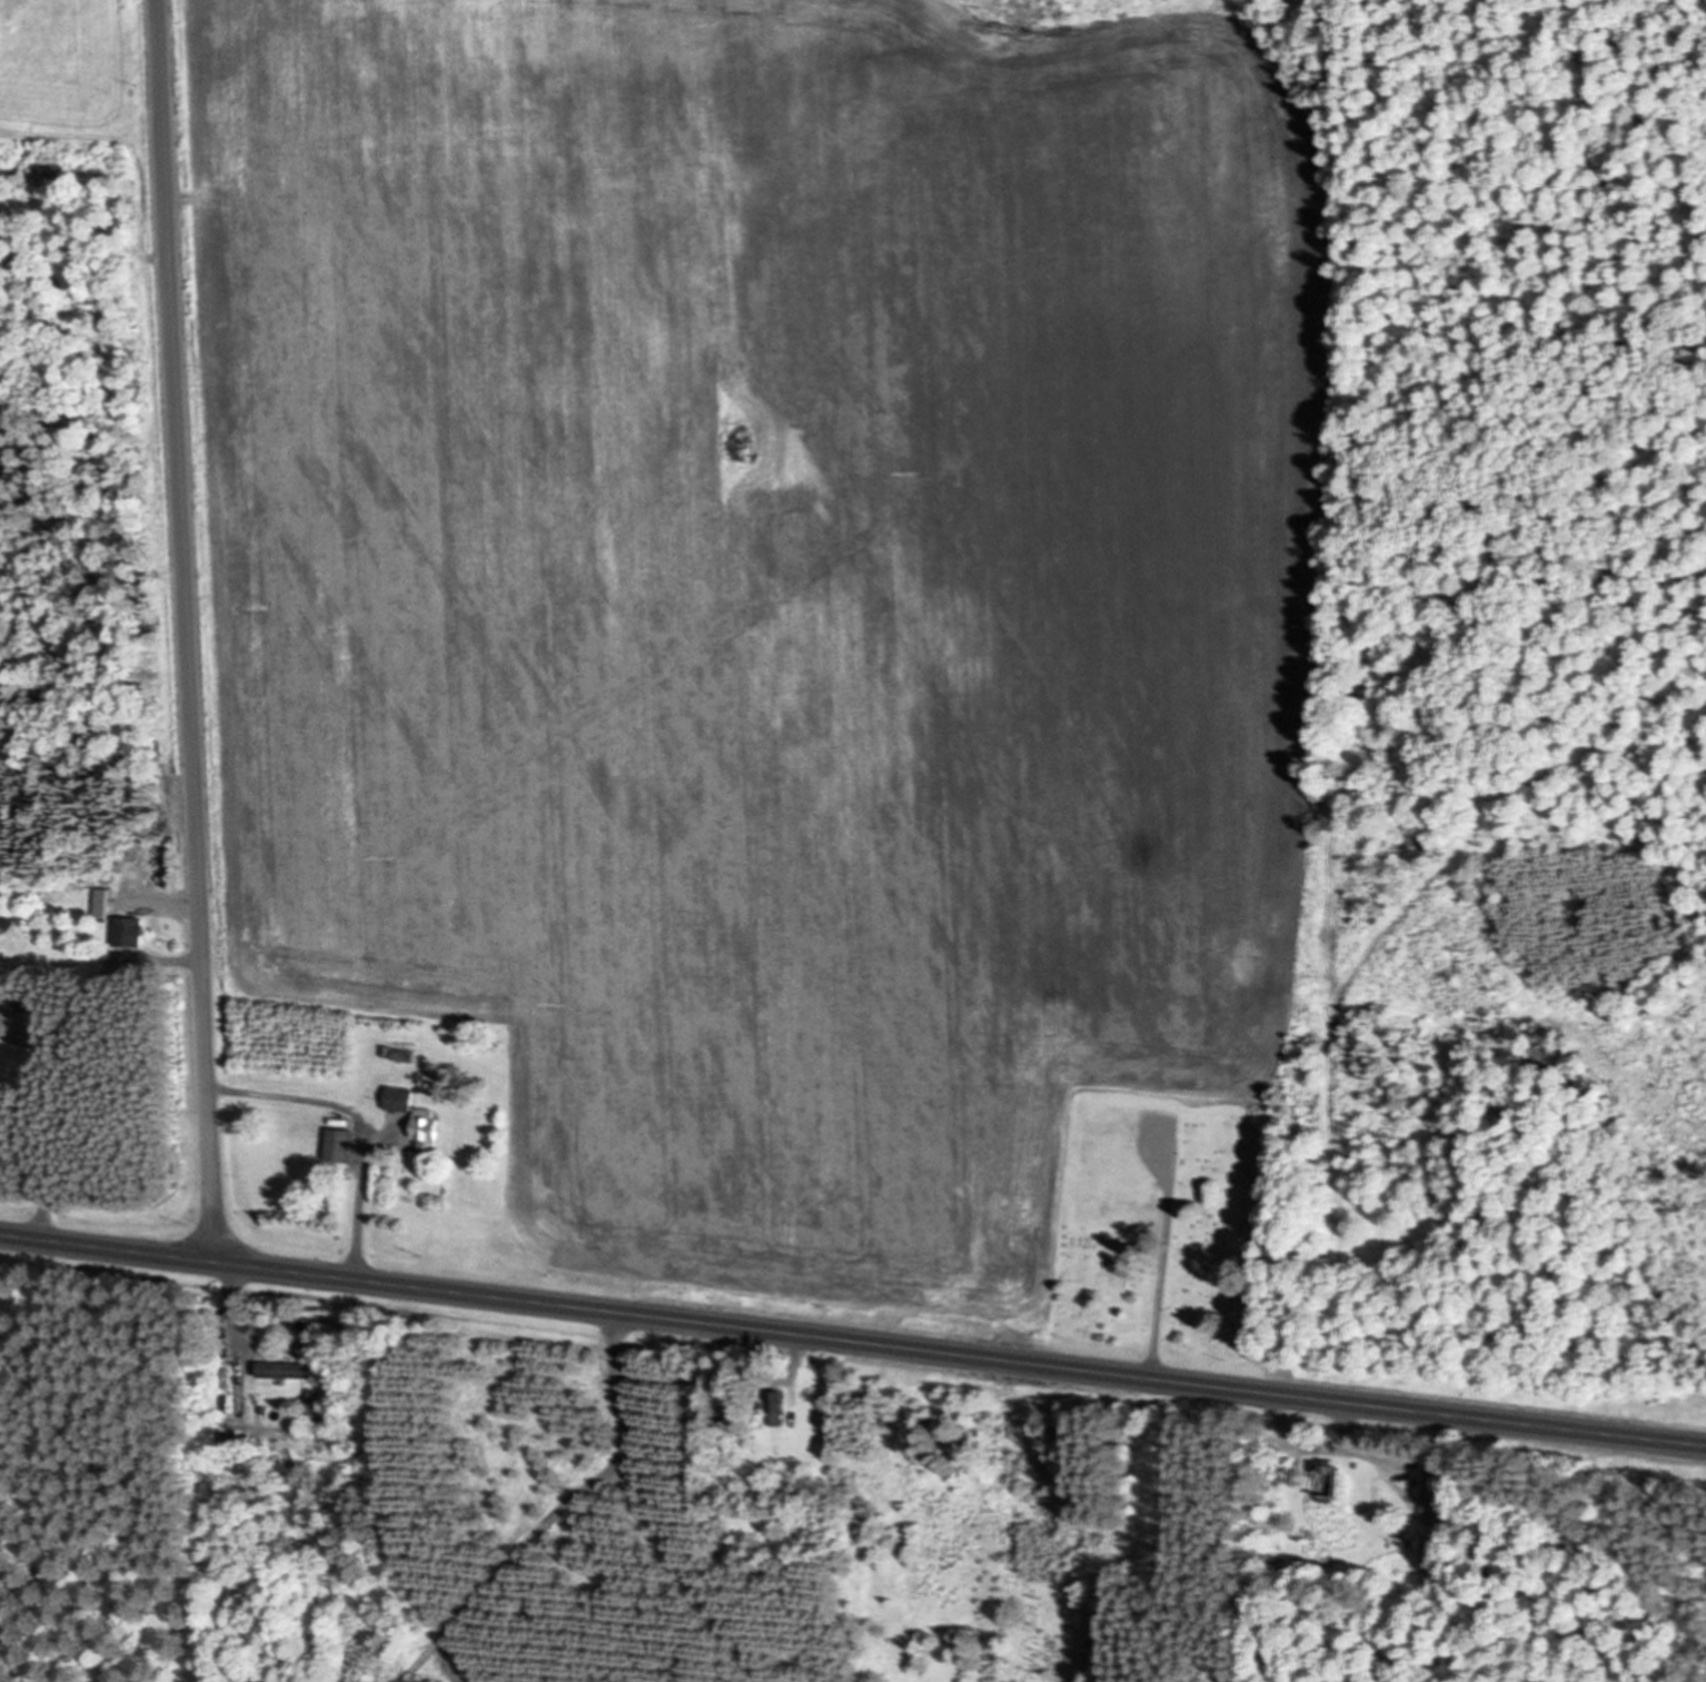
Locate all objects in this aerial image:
road: (186, 630)
building: (106, 905)
road: (173, 908)
building: (131, 933)
building: (24, 1027)
road: (57, 1055)
building: (404, 1099)
road: (359, 1123)
building: (430, 1133)
building: (343, 1146)
road: (1174, 1154)
road: (1148, 1163)
park: (1174, 1234)
road: (1161, 1286)
road: (236, 1304)
road: (852, 1340)
building: (288, 1371)
road: (617, 1382)
building: (780, 1410)
road: (1319, 1443)
building: (1333, 1483)
building: (1377, 1494)
building: (1431, 1496)
building: (1427, 1554)
road: (504, 1563)
road: (678, 1574)

